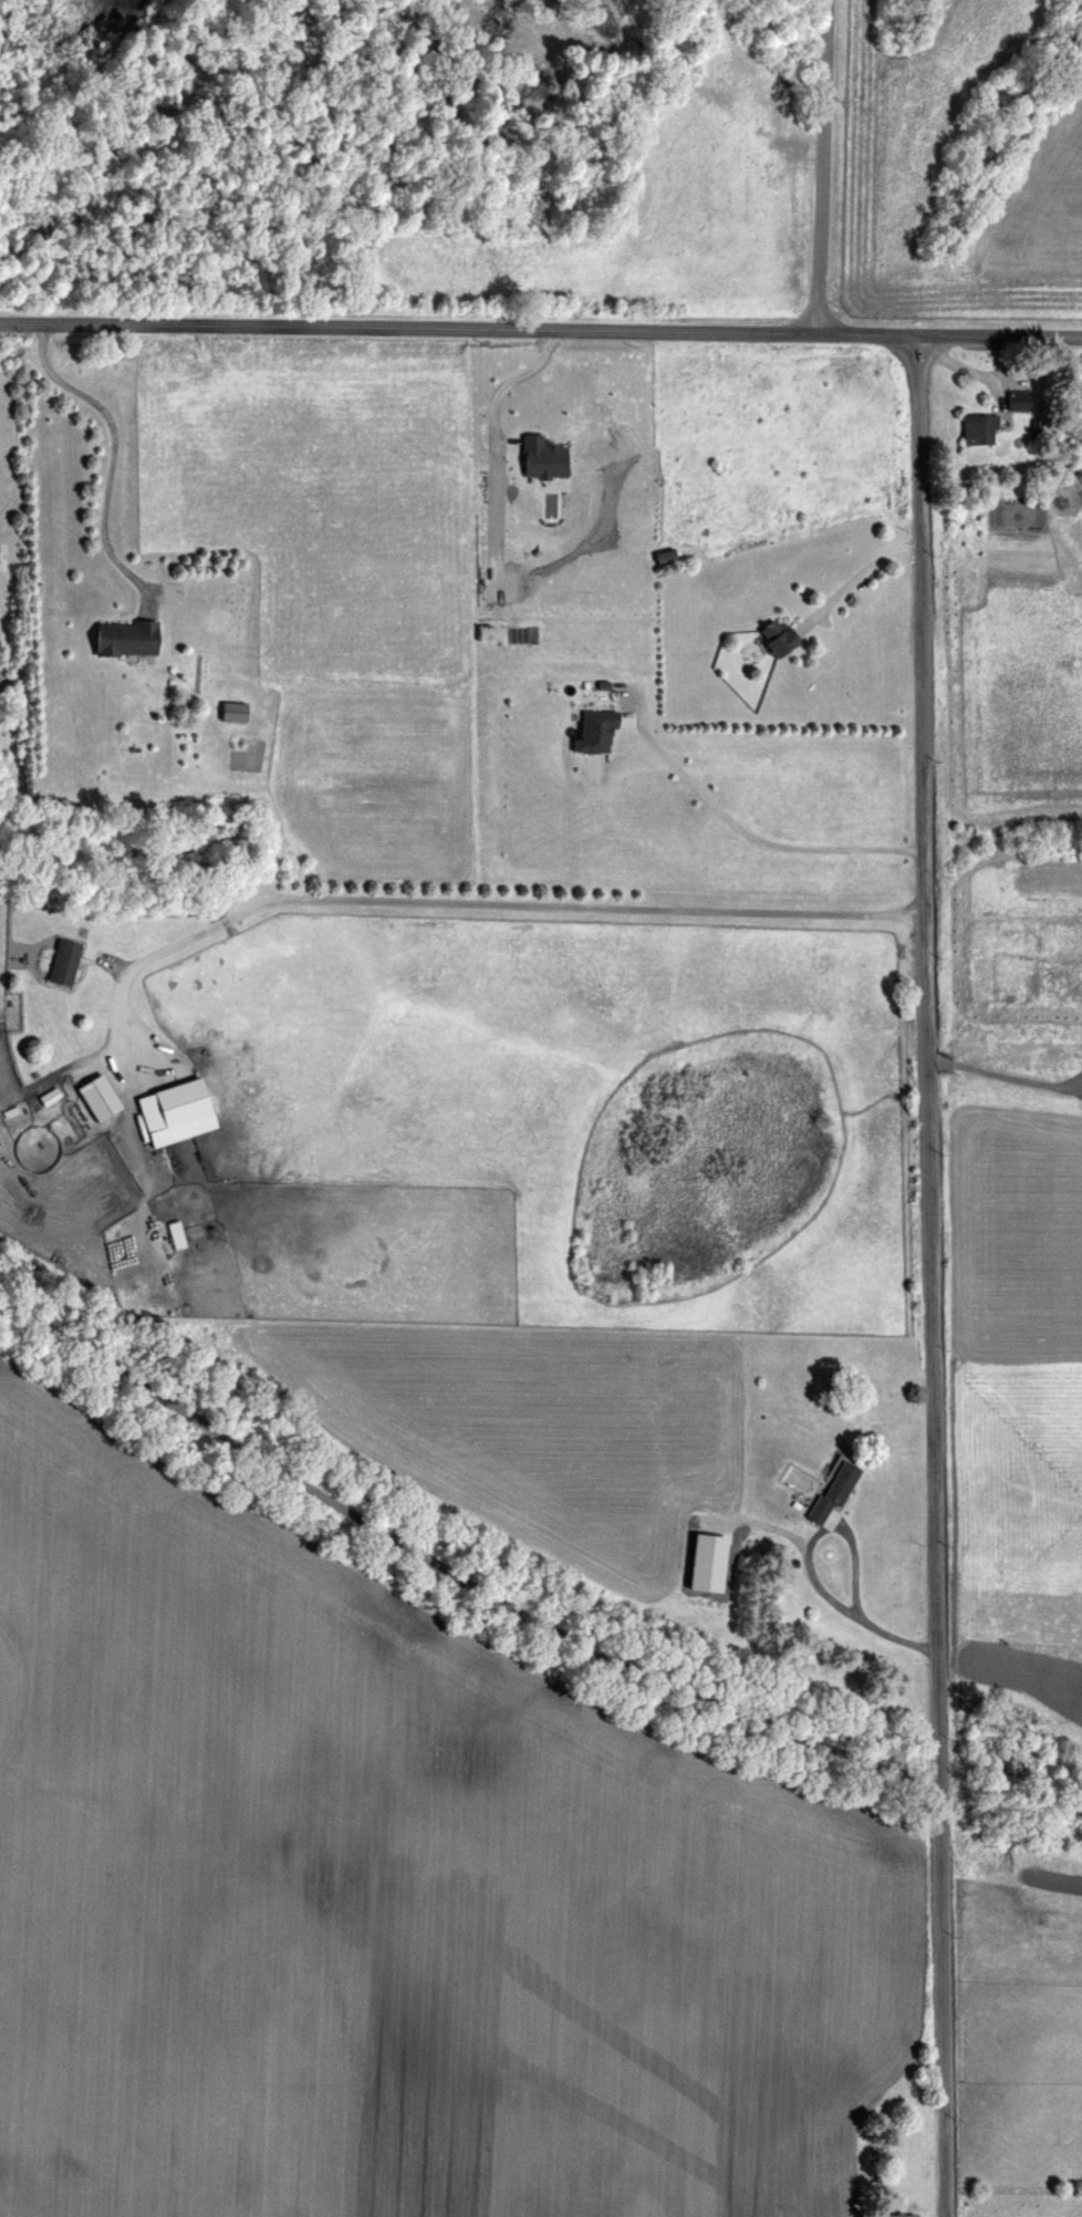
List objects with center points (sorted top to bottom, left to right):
road: (820, 165)
road: (541, 327)
building: (1015, 400)
building: (977, 428)
road: (106, 446)
road: (854, 574)
building: (771, 634)
building: (122, 636)
building: (591, 729)
road: (742, 828)
road: (497, 903)
building: (60, 960)
building: (94, 1096)
building: (175, 1101)
building: (171, 1234)
road: (925, 1274)
building: (830, 1490)
road: (454, 1550)
road: (804, 1576)
road: (886, 1638)
building: (893, 2215)

